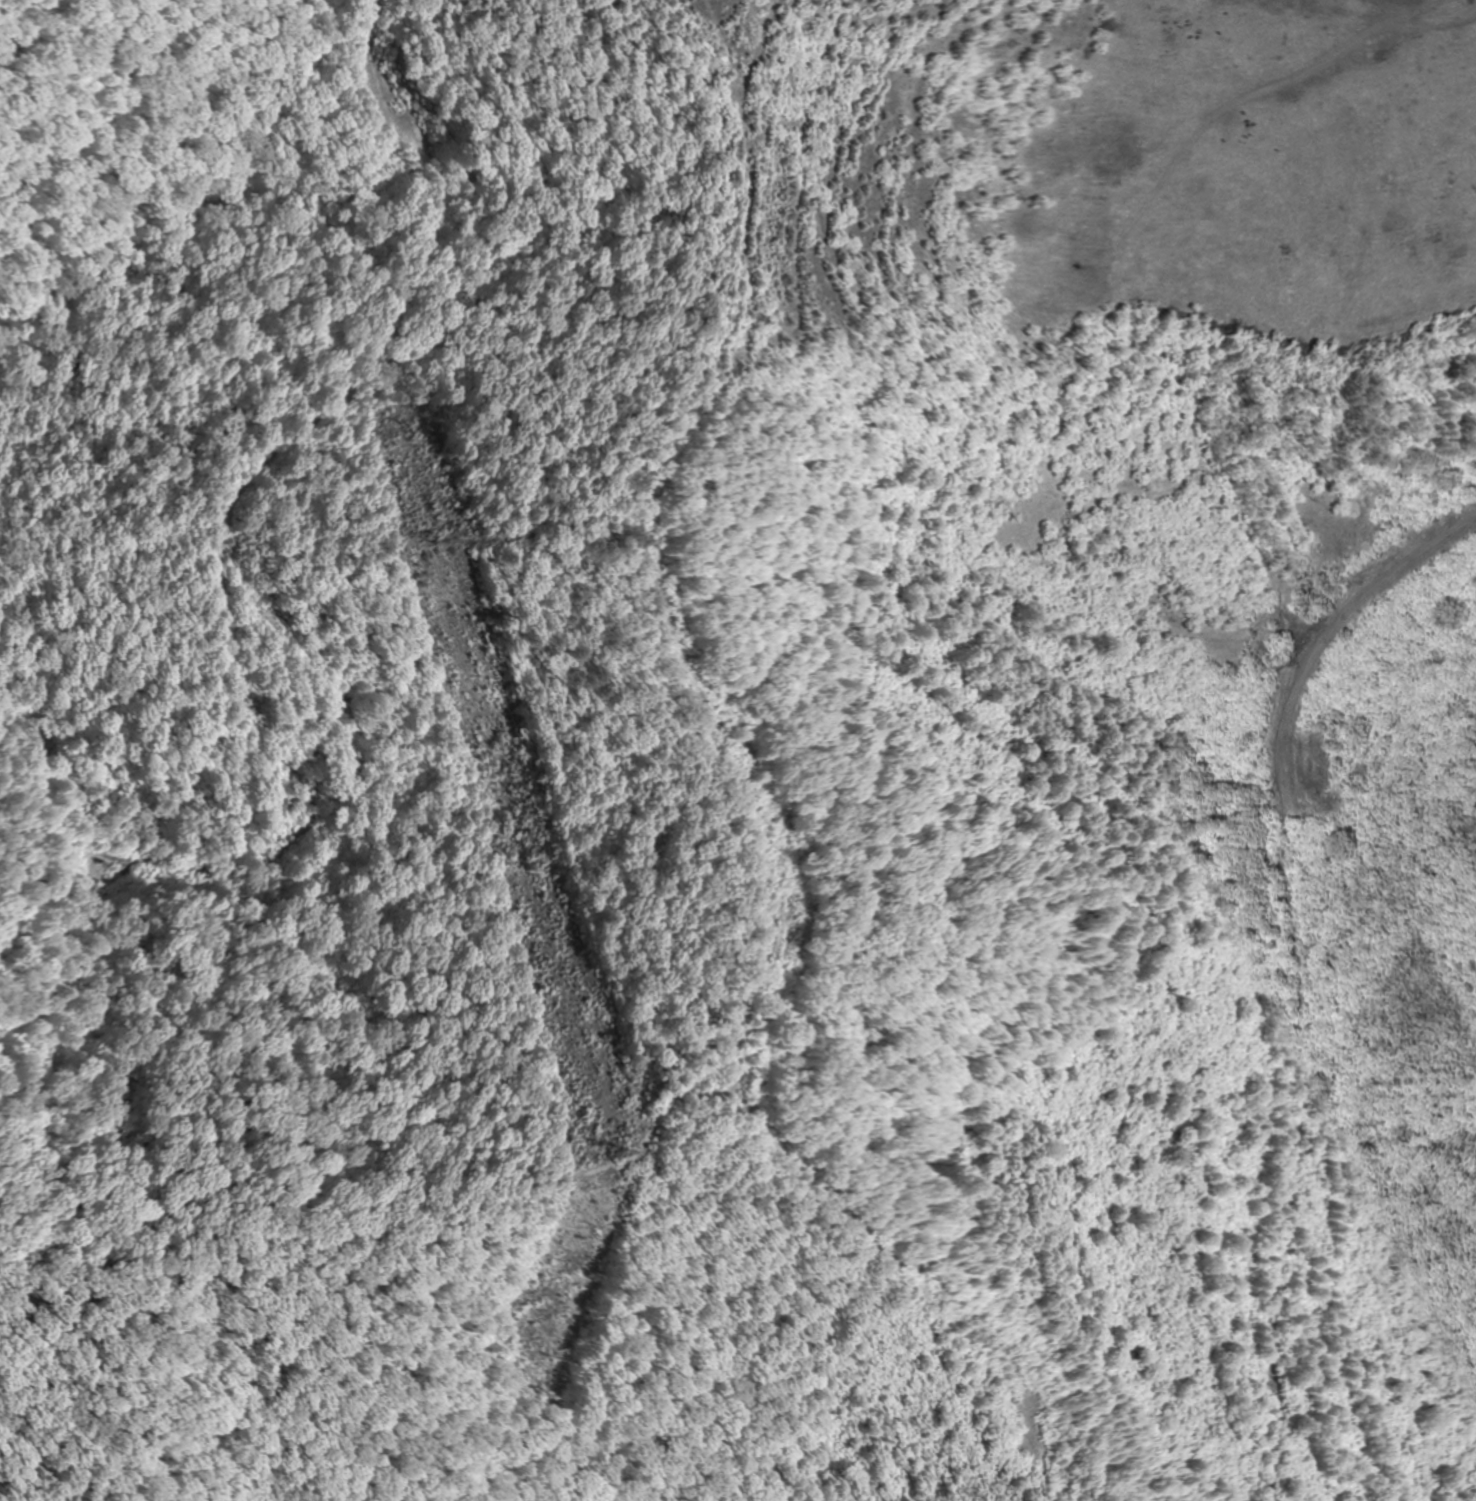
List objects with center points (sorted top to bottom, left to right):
power tower: (417, 541)
power tower: (607, 1153)

